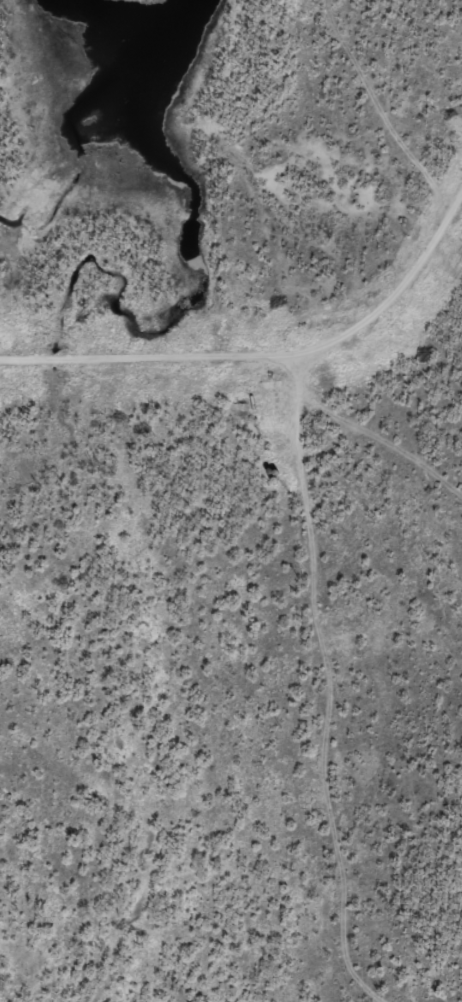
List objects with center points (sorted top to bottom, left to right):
road: (398, 294)
road: (343, 582)
building: (401, 955)

